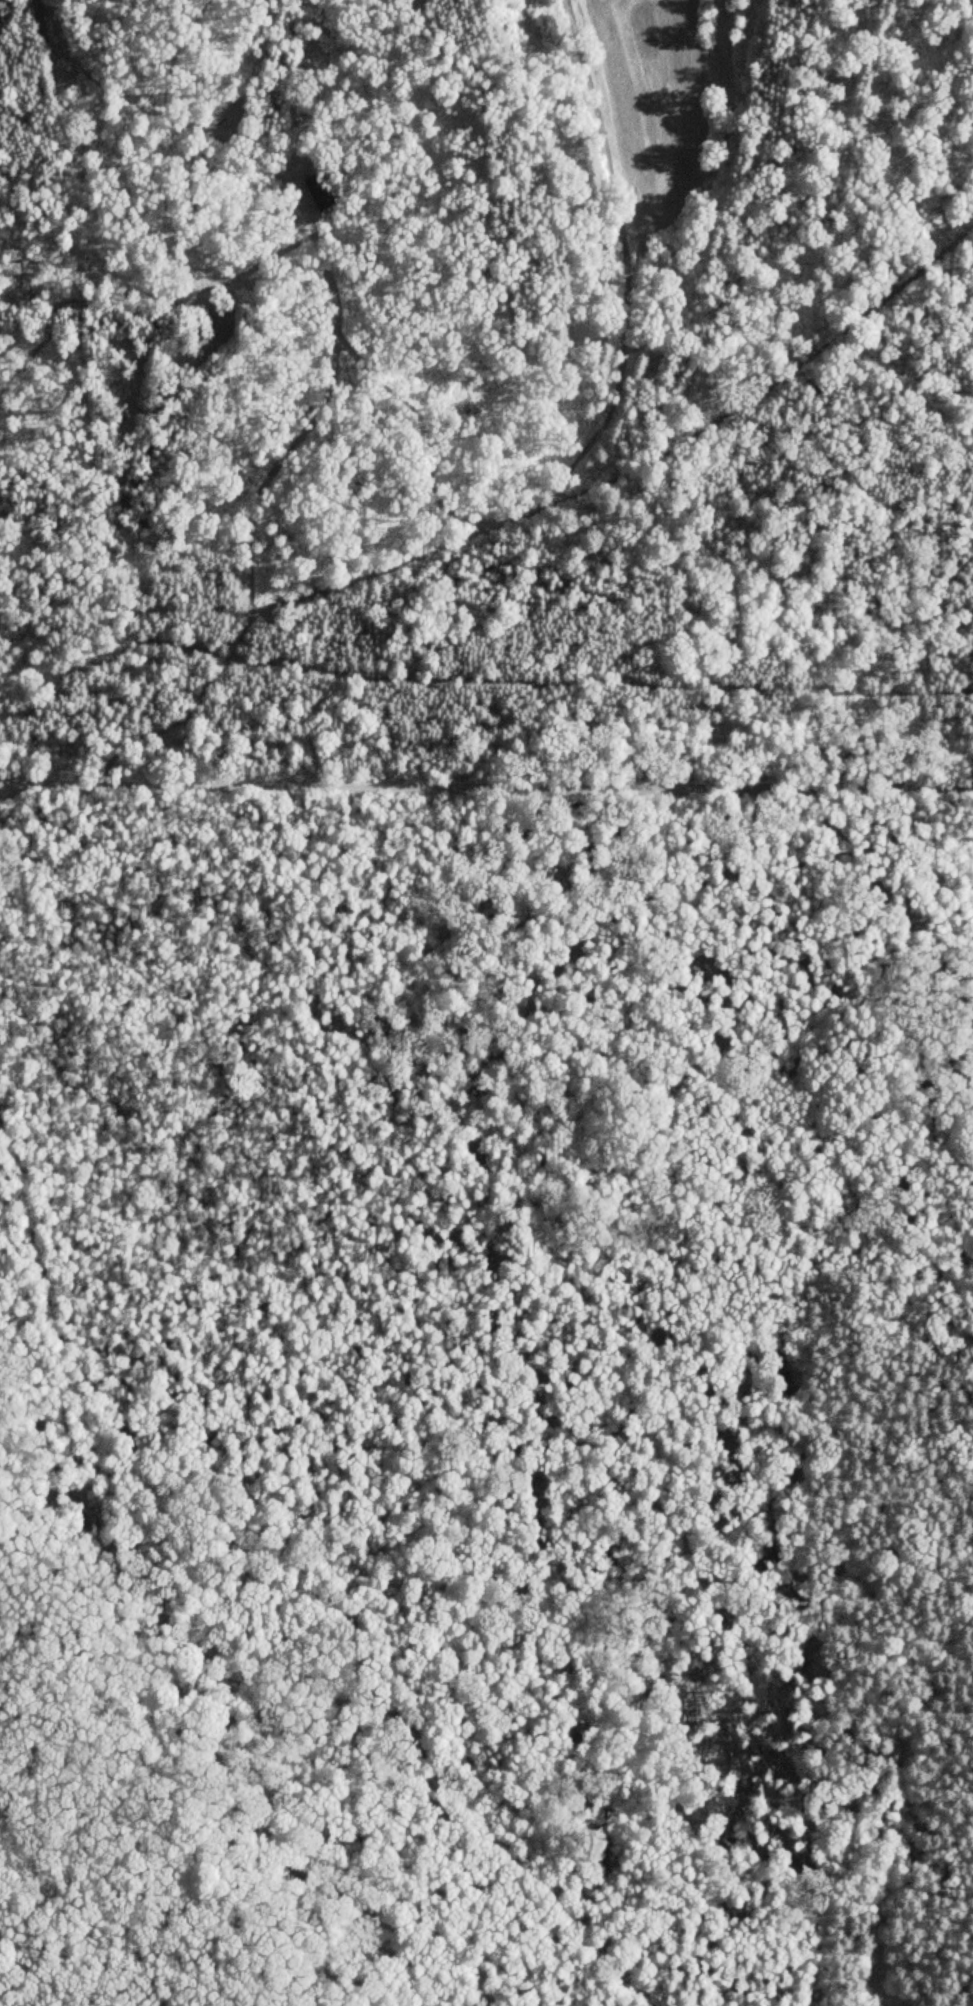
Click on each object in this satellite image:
road: (486, 786)
road: (631, 1246)
road: (52, 1300)
park: (486, 1372)
road: (245, 1575)
road: (487, 1822)

